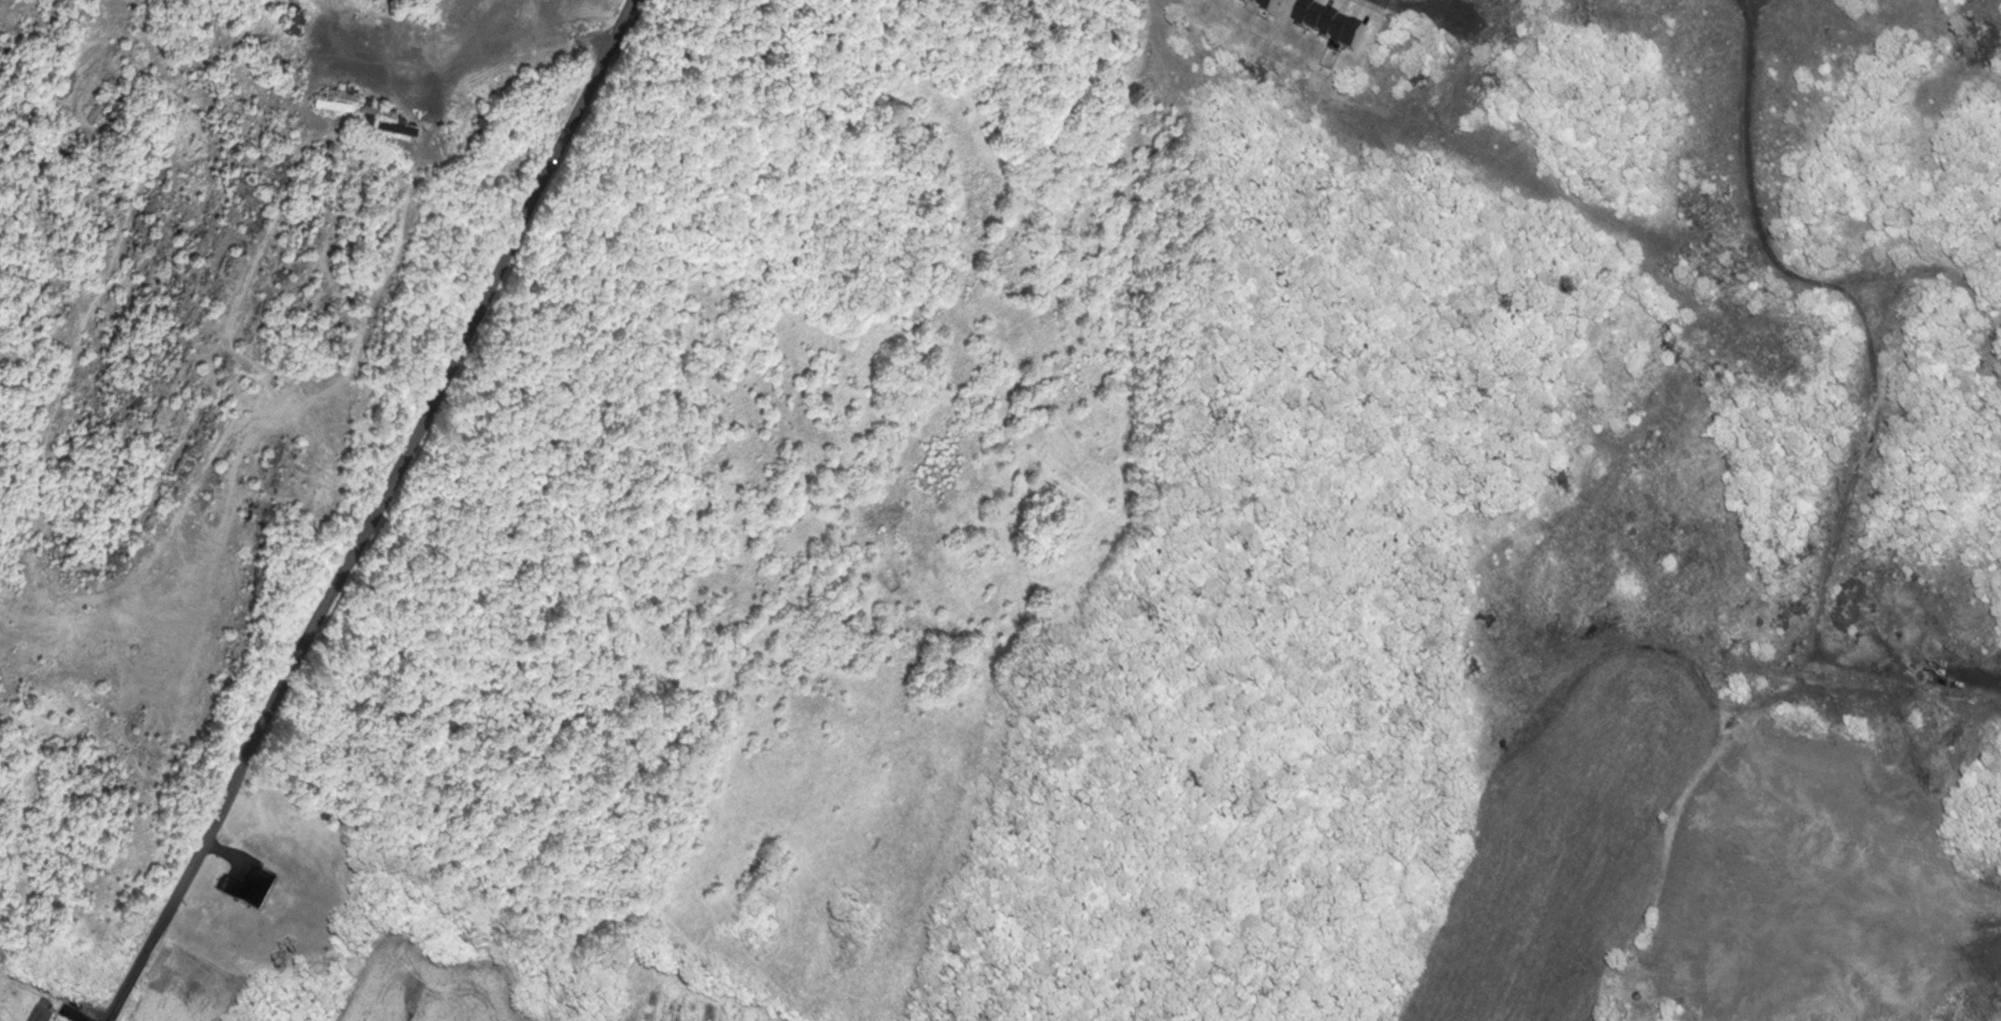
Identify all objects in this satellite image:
road: (322, 12)
building: (335, 98)
building: (375, 107)
road: (374, 513)
building: (42, 1011)

